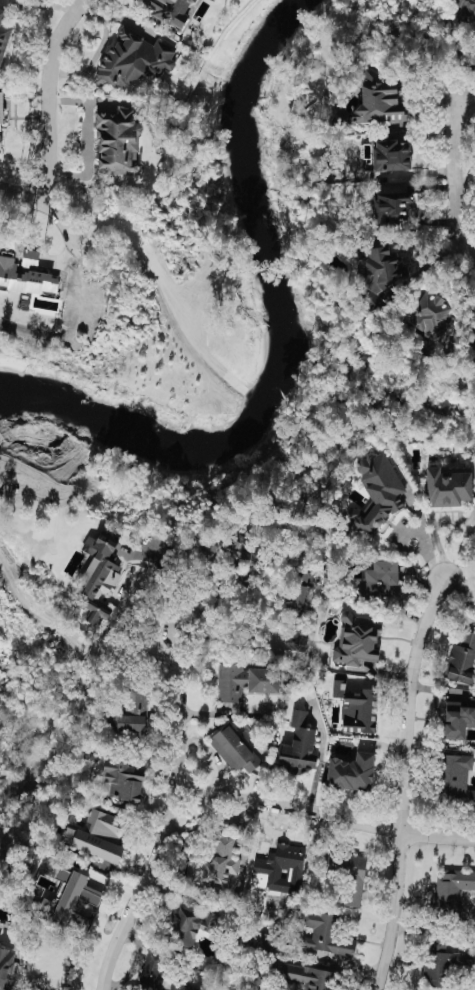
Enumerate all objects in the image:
building: (168, 10)
building: (465, 10)
road: (100, 49)
building: (133, 60)
road: (53, 96)
building: (379, 100)
building: (1, 115)
road: (89, 137)
building: (117, 141)
building: (391, 155)
road: (453, 178)
road: (46, 201)
building: (392, 208)
road: (464, 209)
building: (25, 273)
building: (427, 312)
river: (275, 341)
building: (471, 341)
building: (449, 486)
building: (376, 493)
road: (437, 530)
building: (234, 544)
building: (97, 575)
building: (377, 581)
building: (297, 611)
building: (356, 639)
building: (462, 658)
building: (244, 680)
building: (356, 705)
building: (131, 712)
building: (458, 717)
building: (298, 746)
building: (232, 749)
building: (351, 771)
building: (456, 779)
building: (121, 780)
road: (402, 783)
road: (172, 795)
road: (324, 815)
building: (97, 835)
building: (216, 864)
building: (279, 869)
building: (348, 874)
building: (450, 891)
building: (68, 893)
building: (191, 925)
building: (312, 936)
building: (6, 961)
building: (441, 962)
building: (158, 975)
building: (303, 976)

